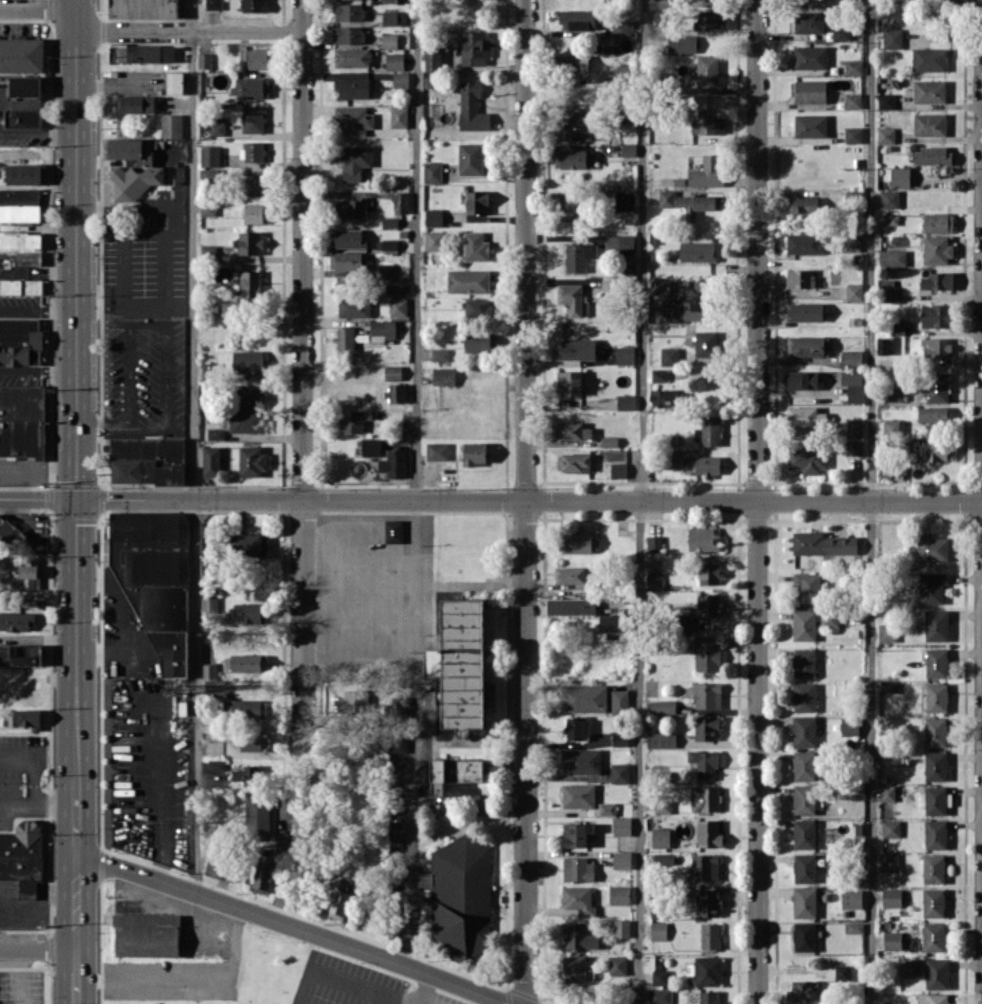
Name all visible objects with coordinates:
building: (801, 0)
building: (390, 1)
railway: (976, 3)
building: (213, 4)
building: (254, 5)
road: (37, 8)
building: (144, 9)
building: (349, 12)
building: (660, 16)
building: (394, 17)
building: (577, 19)
building: (708, 19)
road: (951, 21)
building: (809, 22)
building: (623, 28)
road: (188, 30)
building: (842, 33)
building: (350, 34)
building: (892, 38)
building: (390, 40)
building: (682, 43)
building: (474, 47)
building: (141, 53)
building: (22, 55)
building: (254, 57)
building: (352, 57)
building: (810, 57)
building: (929, 59)
building: (204, 60)
building: (433, 60)
building: (394, 61)
building: (572, 63)
building: (853, 66)
building: (707, 70)
building: (623, 72)
building: (400, 79)
building: (174, 82)
building: (251, 87)
building: (352, 87)
building: (810, 91)
building: (929, 91)
building: (853, 100)
building: (886, 100)
building: (22, 102)
building: (135, 103)
building: (472, 107)
building: (398, 116)
building: (253, 119)
building: (354, 119)
building: (707, 124)
building: (929, 124)
building: (171, 125)
building: (810, 125)
building: (217, 126)
building: (576, 127)
road: (37, 132)
building: (853, 134)
building: (886, 134)
building: (628, 149)
building: (252, 151)
building: (932, 155)
building: (210, 156)
building: (470, 158)
building: (574, 158)
building: (355, 161)
building: (134, 167)
building: (432, 172)
building: (707, 172)
building: (24, 173)
building: (900, 176)
building: (254, 184)
building: (30, 195)
building: (666, 198)
building: (889, 198)
building: (625, 199)
building: (477, 201)
building: (401, 202)
building: (698, 204)
building: (803, 204)
building: (208, 207)
building: (350, 207)
building: (572, 207)
building: (20, 213)
building: (254, 213)
building: (433, 217)
building: (938, 222)
building: (347, 238)
building: (20, 239)
building: (434, 240)
building: (249, 242)
building: (852, 242)
building: (619, 243)
building: (805, 243)
building: (389, 244)
building: (476, 246)
road: (415, 249)
building: (938, 249)
building: (209, 250)
road: (165, 251)
building: (697, 251)
building: (579, 256)
building: (893, 257)
building: (28, 258)
building: (346, 261)
building: (384, 270)
building: (800, 278)
building: (937, 280)
building: (468, 281)
building: (250, 284)
building: (609, 284)
building: (21, 286)
building: (660, 286)
building: (888, 289)
building: (854, 291)
building: (572, 299)
building: (696, 305)
building: (398, 306)
building: (354, 307)
building: (478, 308)
building: (804, 311)
building: (934, 315)
building: (382, 330)
building: (345, 339)
building: (20, 341)
building: (478, 342)
building: (705, 343)
building: (883, 345)
building: (807, 346)
building: (935, 347)
building: (575, 348)
building: (439, 354)
building: (625, 355)
building: (669, 356)
building: (851, 359)
building: (248, 363)
road: (302, 371)
building: (393, 372)
building: (207, 373)
building: (659, 375)
building: (443, 376)
building: (802, 379)
building: (569, 382)
building: (853, 385)
building: (937, 387)
road: (75, 389)
building: (395, 392)
building: (894, 394)
building: (250, 396)
building: (664, 397)
building: (626, 402)
building: (932, 414)
building: (805, 416)
building: (21, 419)
building: (247, 420)
building: (353, 420)
building: (894, 427)
building: (855, 428)
building: (573, 430)
building: (708, 430)
building: (216, 433)
building: (609, 441)
road: (194, 446)
building: (370, 447)
building: (854, 447)
building: (934, 450)
building: (437, 451)
building: (474, 453)
building: (670, 459)
building: (148, 460)
building: (211, 461)
building: (251, 461)
building: (574, 462)
building: (394, 463)
road: (38, 465)
building: (707, 465)
traffic signals: (76, 498)
road: (490, 499)
road: (638, 501)
road: (757, 501)
road: (871, 501)
road: (524, 502)
building: (10, 528)
building: (393, 531)
building: (702, 539)
building: (579, 542)
building: (654, 543)
building: (822, 543)
building: (247, 544)
building: (931, 547)
road: (375, 549)
building: (710, 573)
building: (29, 574)
building: (570, 574)
building: (156, 579)
building: (653, 580)
building: (808, 586)
building: (932, 587)
road: (333, 593)
building: (210, 604)
building: (709, 604)
building: (571, 606)
building: (250, 613)
building: (683, 616)
building: (830, 618)
road: (121, 619)
building: (16, 621)
building: (610, 623)
building: (804, 625)
building: (936, 625)
building: (887, 632)
building: (842, 636)
building: (20, 654)
building: (707, 656)
building: (804, 662)
building: (936, 662)
building: (246, 663)
building: (461, 664)
building: (209, 671)
building: (214, 687)
building: (889, 687)
building: (707, 695)
building: (804, 697)
building: (936, 697)
building: (584, 698)
building: (619, 701)
building: (349, 703)
building: (660, 707)
building: (245, 709)
building: (23, 717)
building: (849, 726)
building: (575, 728)
building: (707, 728)
building: (804, 731)
building: (935, 731)
road: (416, 732)
building: (619, 738)
building: (661, 739)
building: (252, 741)
building: (397, 748)
building: (581, 761)
building: (704, 762)
building: (215, 764)
building: (804, 765)
building: (935, 765)
building: (457, 772)
building: (620, 773)
building: (251, 775)
building: (887, 793)
building: (577, 795)
building: (705, 798)
building: (804, 799)
building: (936, 800)
road: (37, 801)
building: (663, 806)
building: (606, 808)
road: (75, 816)
building: (258, 817)
building: (622, 826)
building: (890, 828)
building: (709, 833)
building: (804, 833)
building: (576, 834)
building: (935, 834)
building: (658, 838)
building: (222, 853)
building: (22, 855)
building: (662, 858)
building: (622, 859)
building: (890, 862)
building: (705, 867)
building: (804, 868)
building: (933, 868)
building: (579, 869)
building: (263, 878)
building: (619, 894)
building: (461, 896)
building: (891, 897)
building: (851, 898)
building: (339, 899)
building: (578, 900)
building: (708, 902)
building: (804, 902)
building: (933, 902)
road: (37, 906)
building: (657, 908)
road: (293, 927)
building: (855, 927)
road: (75, 928)
building: (621, 928)
building: (658, 930)
building: (147, 935)
building: (710, 935)
building: (578, 936)
building: (804, 936)
building: (933, 936)
building: (892, 940)
road: (37, 949)
building: (617, 965)
building: (907, 967)
building: (574, 969)
building: (705, 970)
building: (842, 972)
building: (937, 973)
park: (321, 976)
building: (660, 977)
building: (800, 990)
building: (660, 995)
building: (708, 997)
building: (932, 998)

